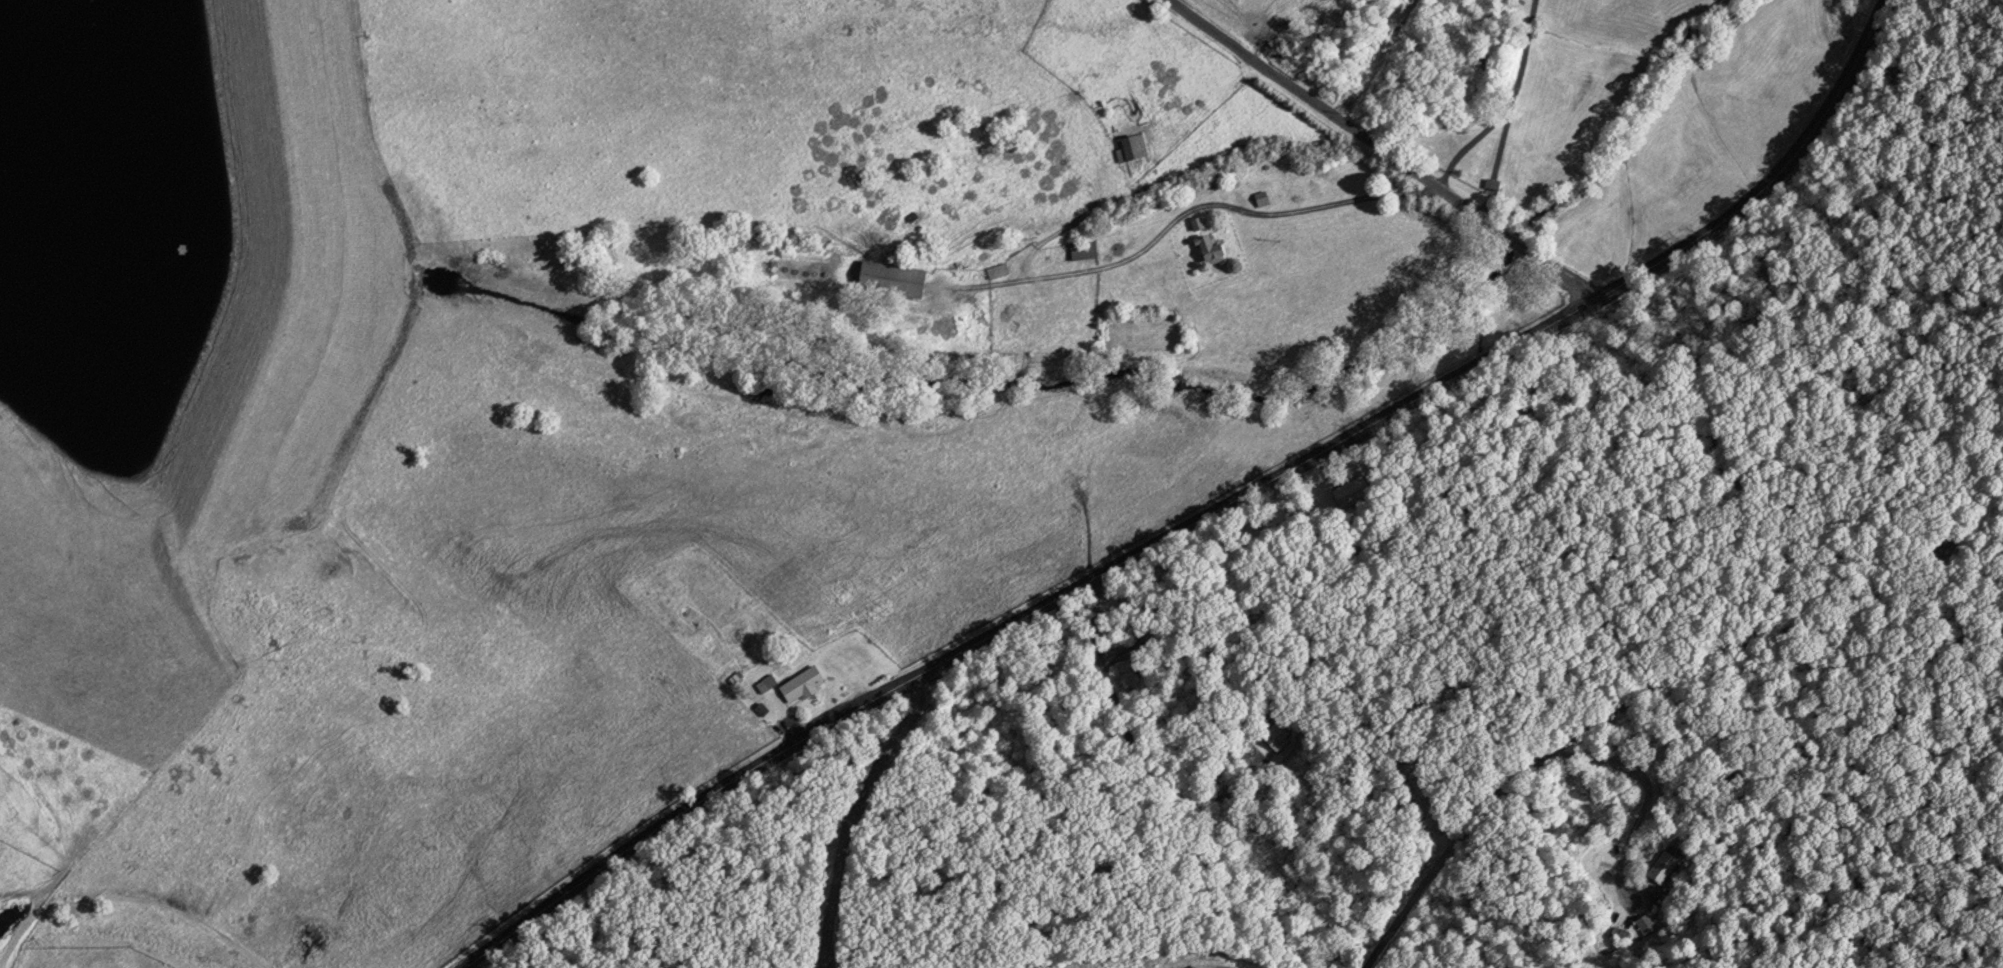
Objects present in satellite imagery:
road: (1512, 107)
road: (1474, 138)
building: (1133, 147)
road: (1388, 148)
road: (1319, 205)
building: (1204, 244)
building: (1081, 249)
building: (996, 270)
building: (888, 280)
dam: (284, 294)
road: (1211, 512)
building: (765, 682)
building: (799, 683)
road: (1551, 771)
road: (723, 911)
building: (1648, 924)

